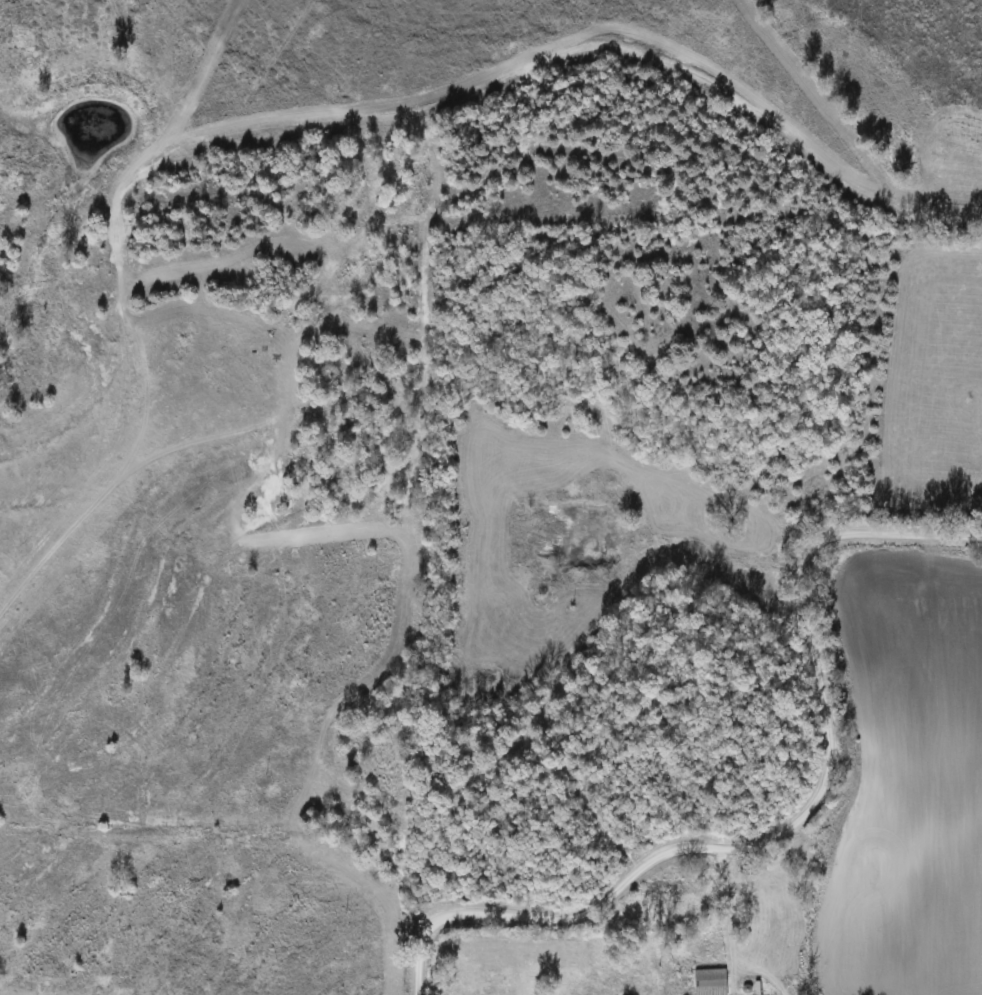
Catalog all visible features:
road: (795, 826)
building: (667, 891)
building: (713, 982)

